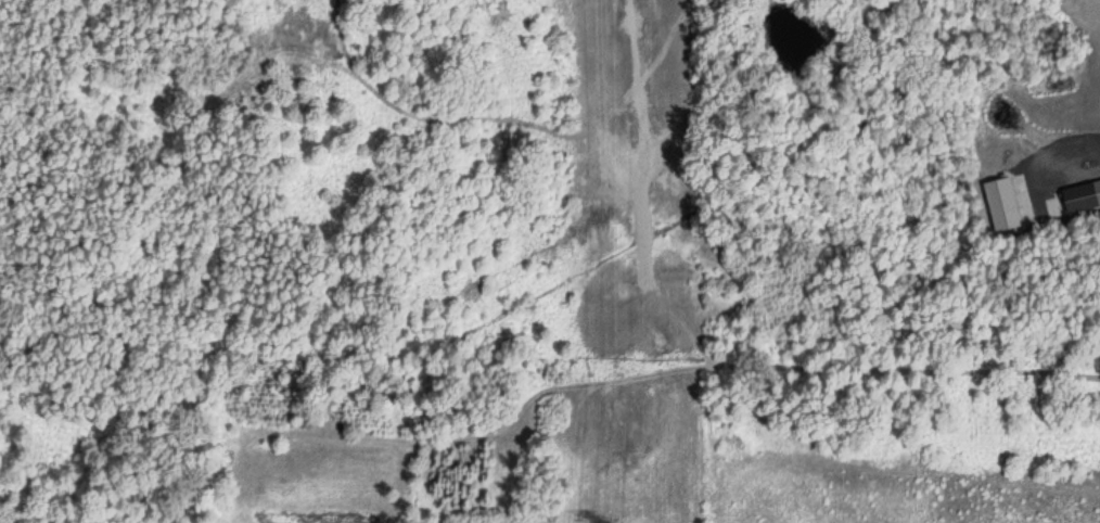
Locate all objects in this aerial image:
building: (1079, 197)
building: (997, 205)

